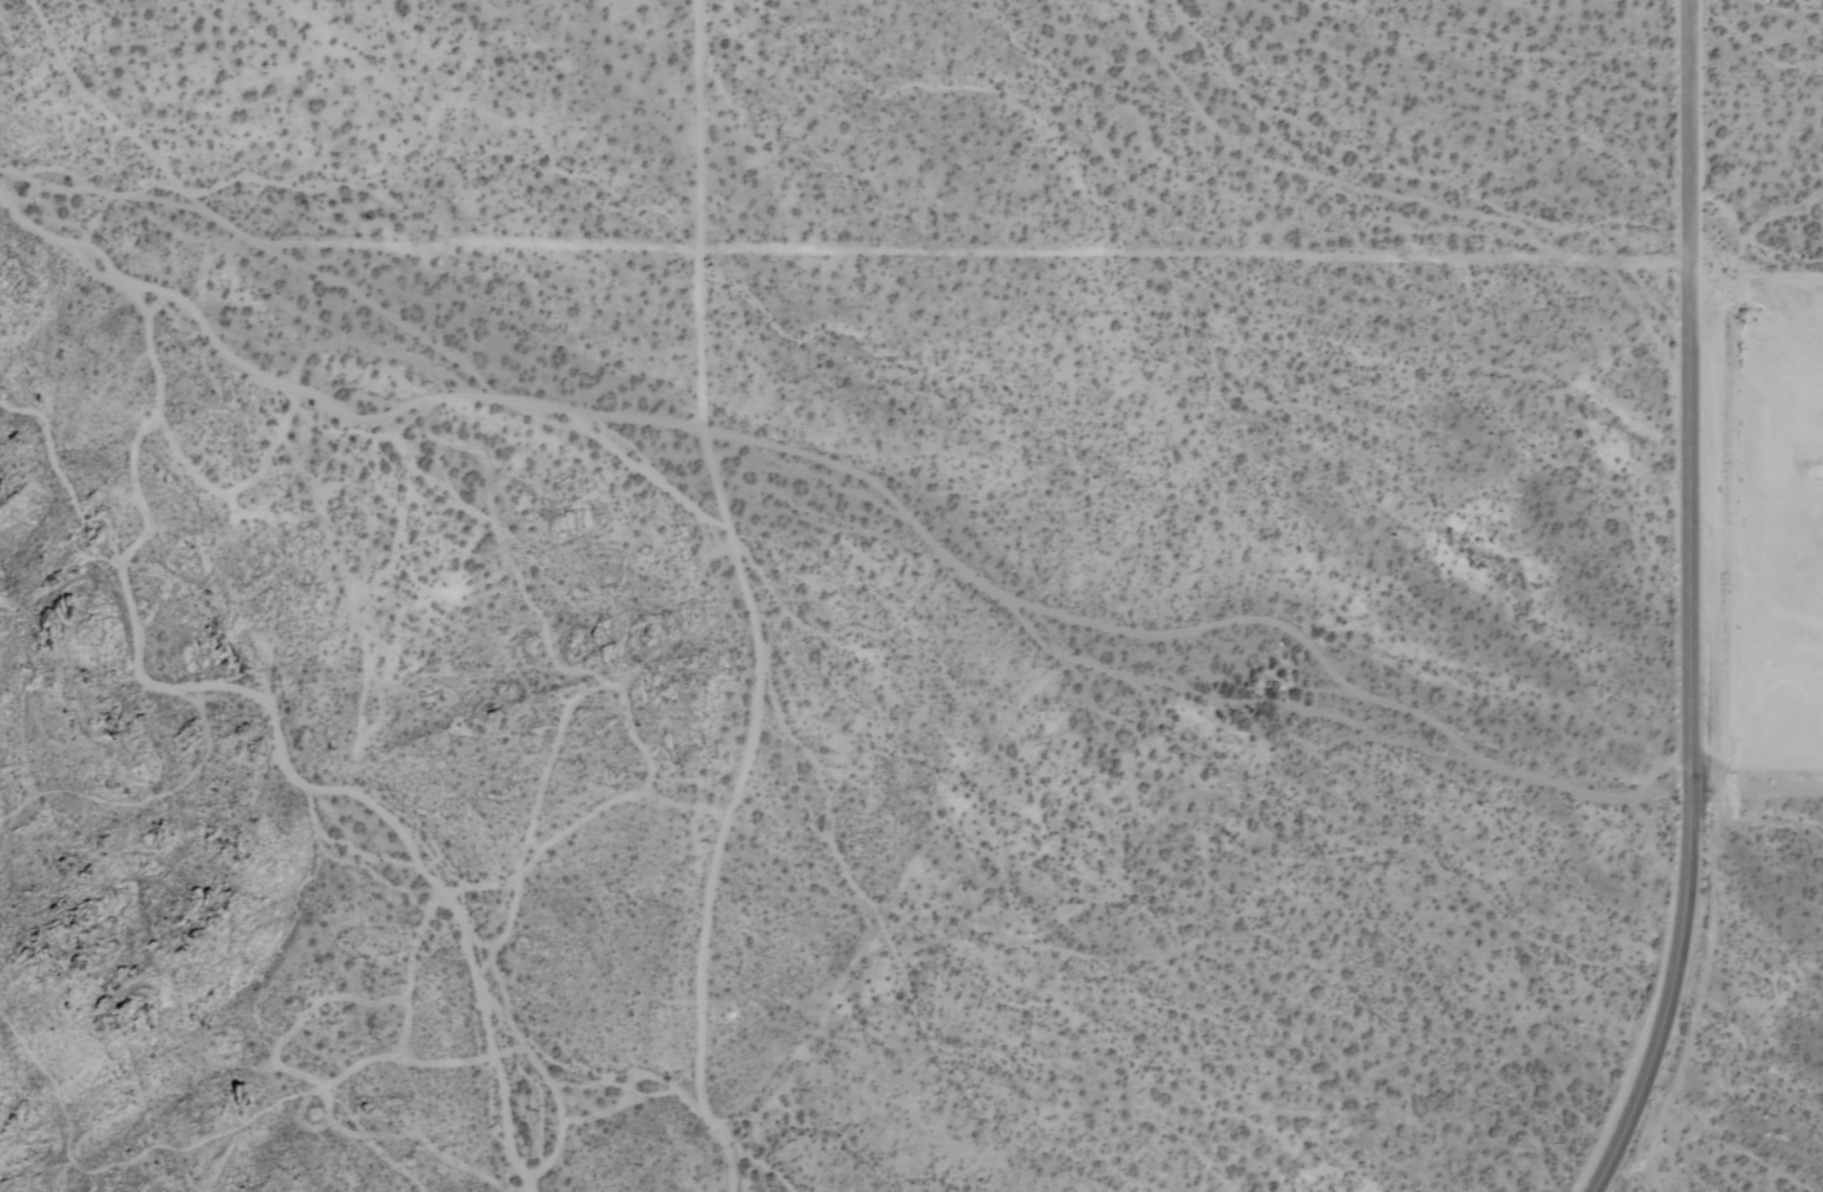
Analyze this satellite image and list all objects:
road: (969, 251)
quarry: (1813, 587)
road: (744, 600)
road: (1686, 604)

